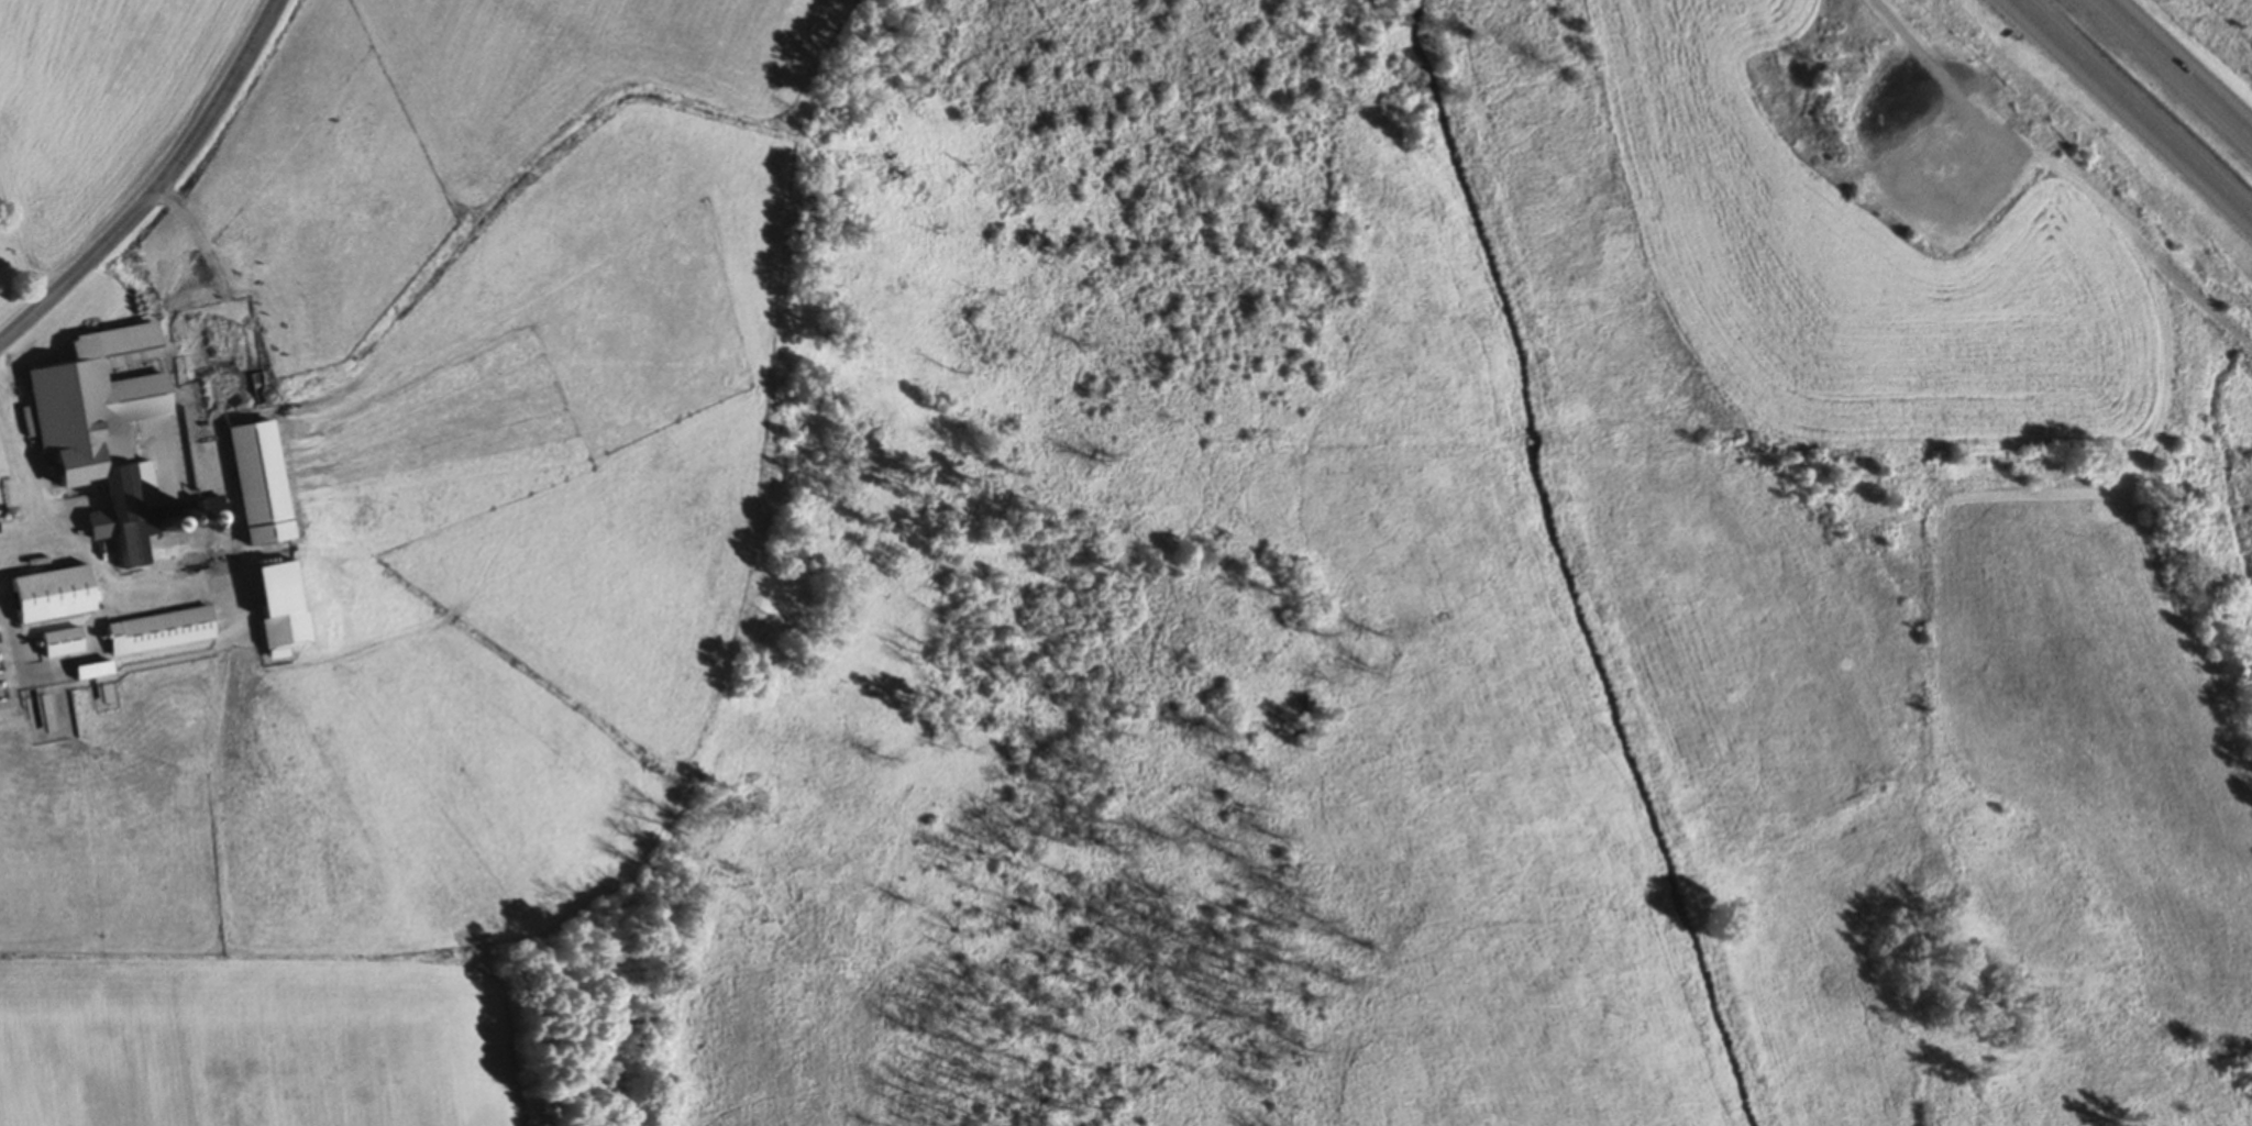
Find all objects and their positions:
road: (2174, 70)
road: (2137, 108)
road: (159, 189)
building: (120, 437)
building: (254, 484)
road: (44, 487)
building: (19, 495)
building: (51, 596)
building: (158, 633)
building: (60, 644)

